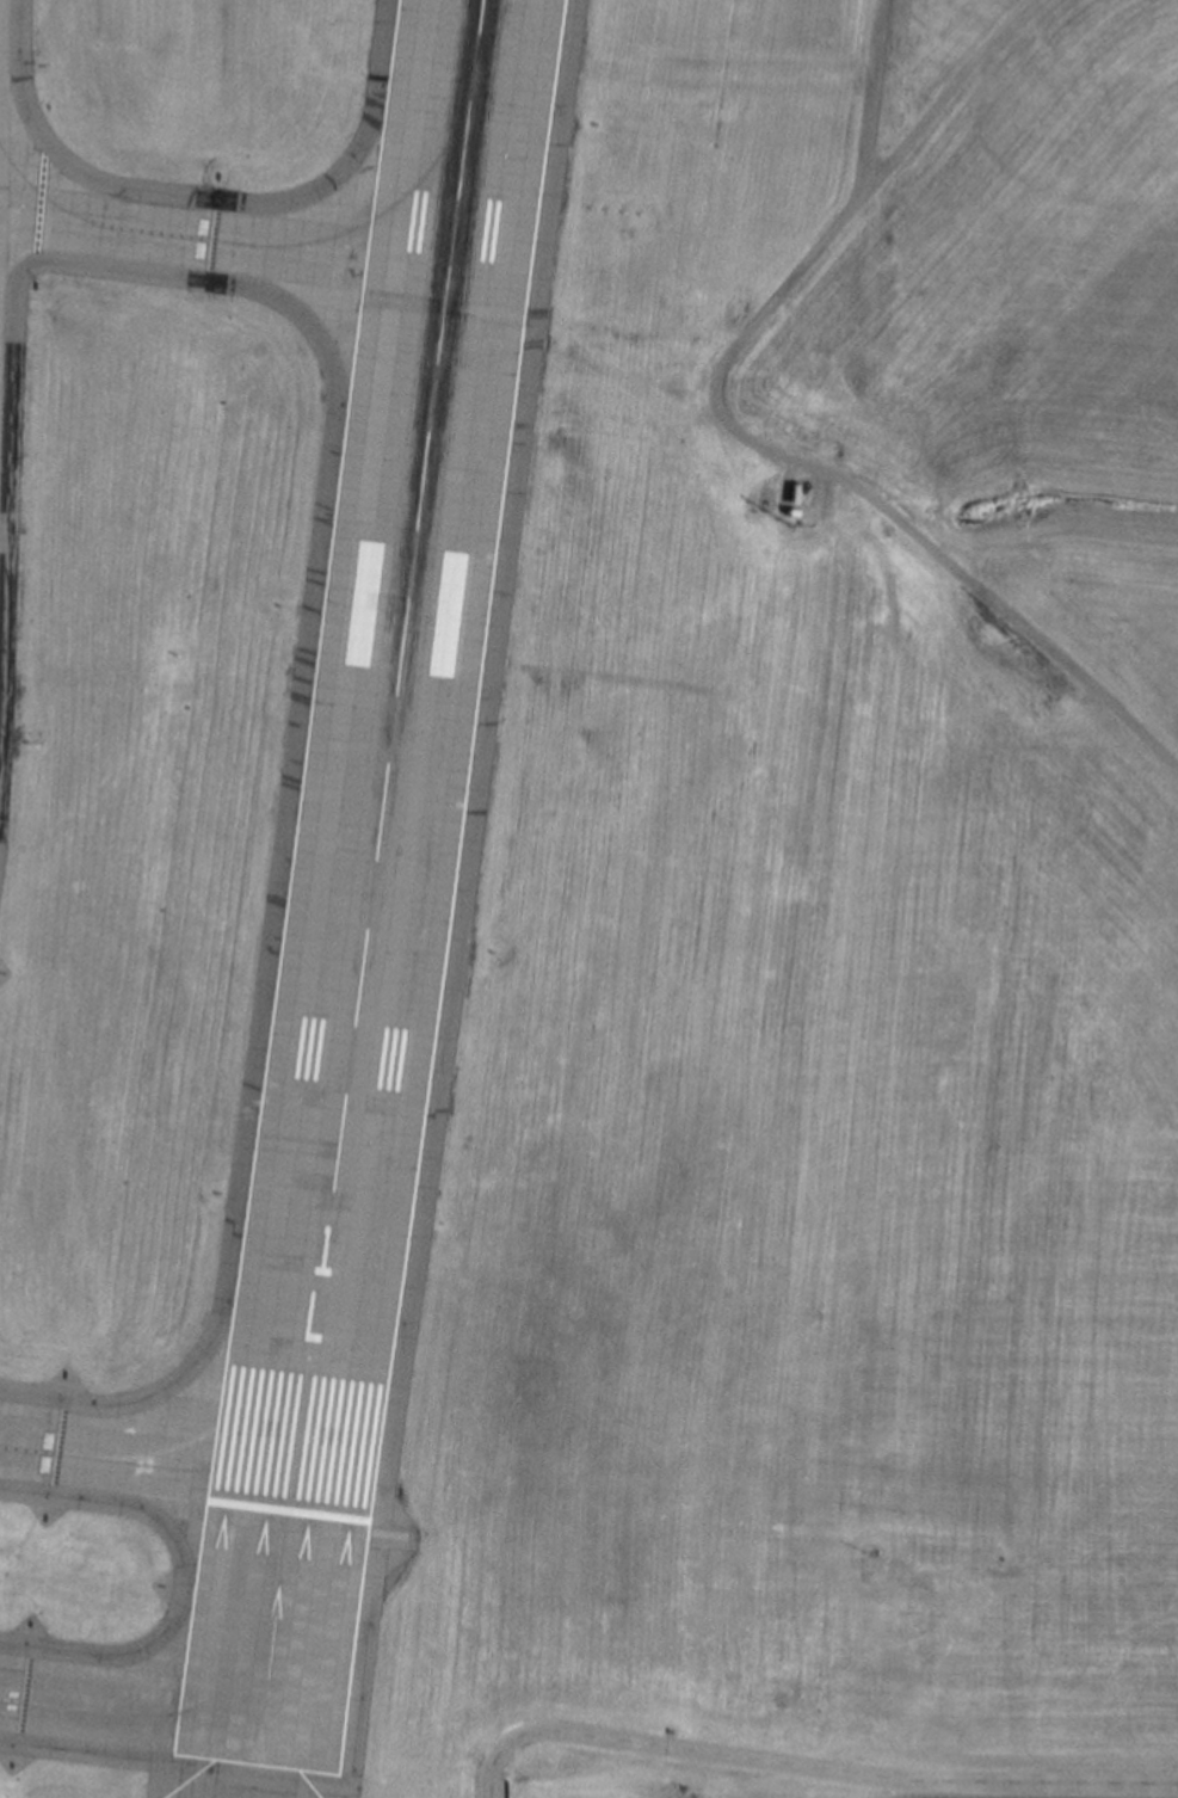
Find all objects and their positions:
road: (871, 96)
road: (858, 205)
airport taxiway: (223, 238)
building: (787, 492)
building: (785, 511)
road: (948, 566)
airport runway: (386, 755)
airport: (588, 899)
airport taxiway: (147, 1463)
airport runway: (275, 1638)
airport taxiway: (131, 1713)
road: (808, 1765)

